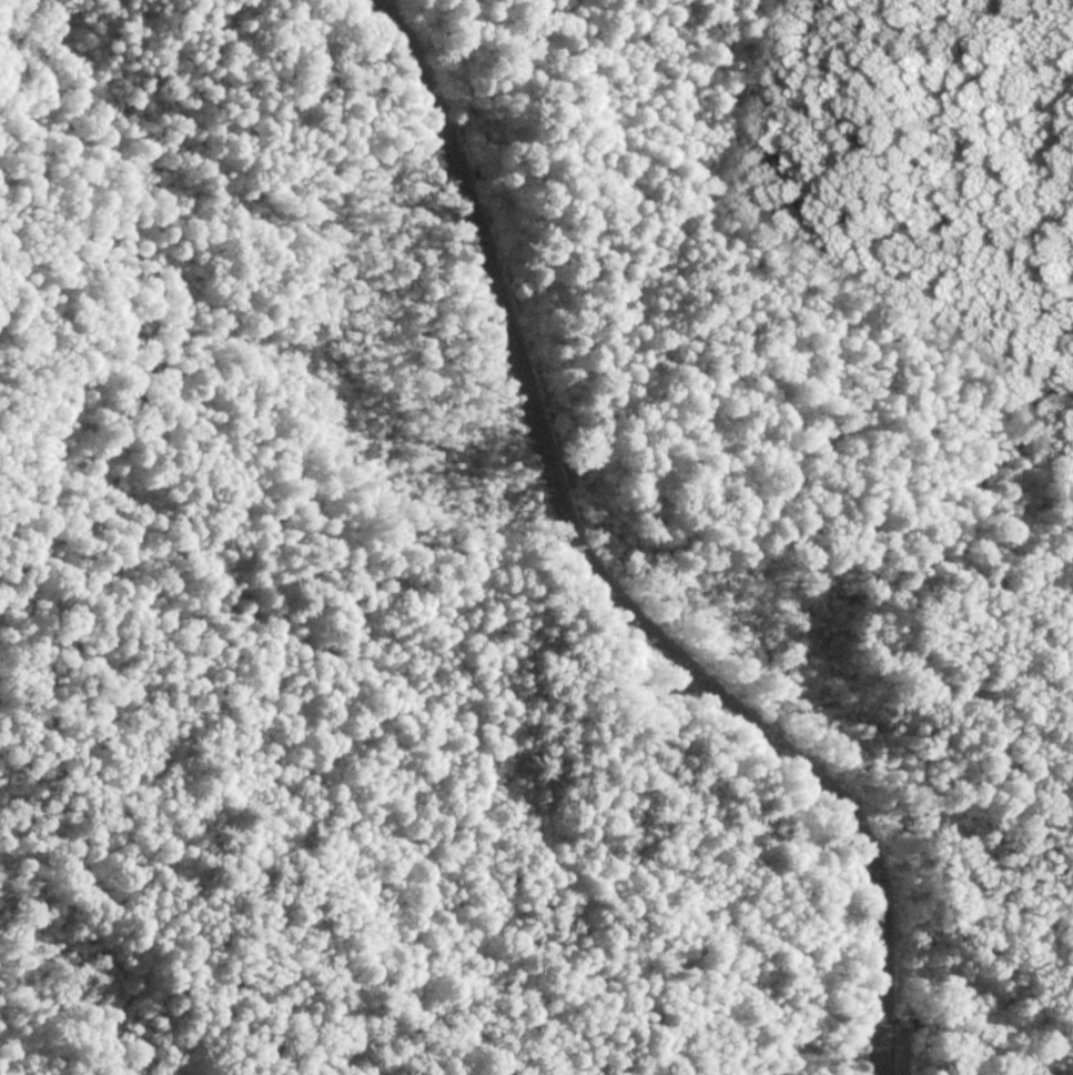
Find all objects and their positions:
park: (529, 530)
road: (590, 576)

